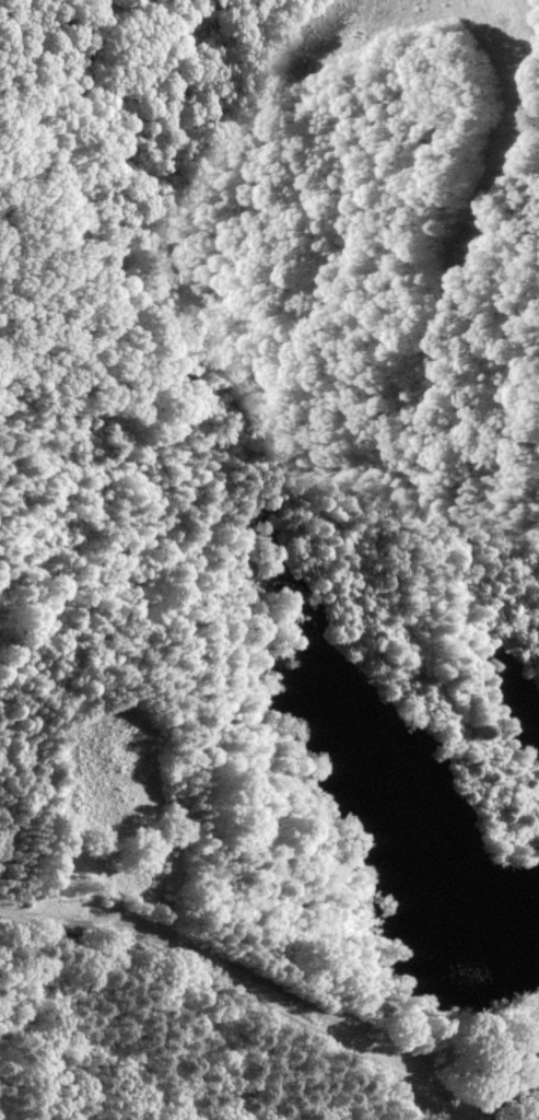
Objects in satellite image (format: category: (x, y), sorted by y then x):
building: (66, 941)

